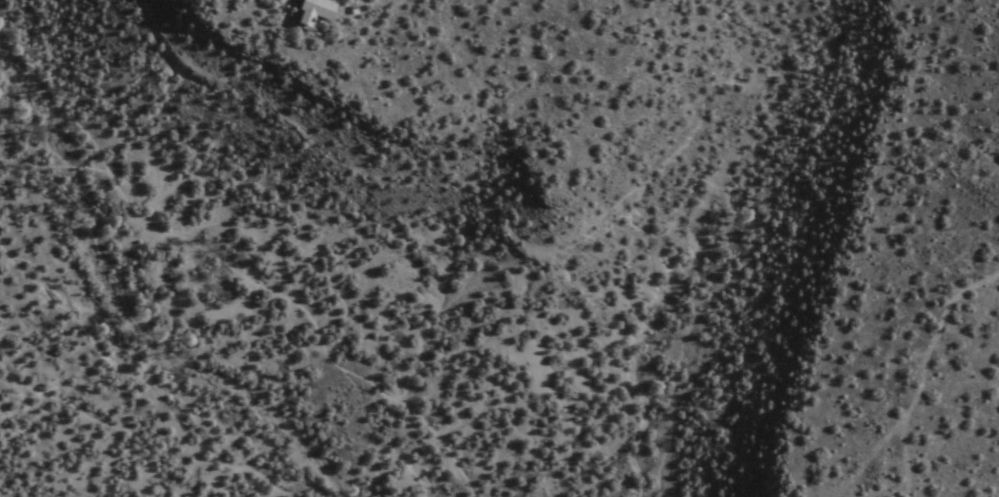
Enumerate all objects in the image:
building: (307, 13)
building: (998, 161)
road: (46, 173)
road: (225, 267)
road: (913, 383)
road: (95, 421)
road: (902, 453)

